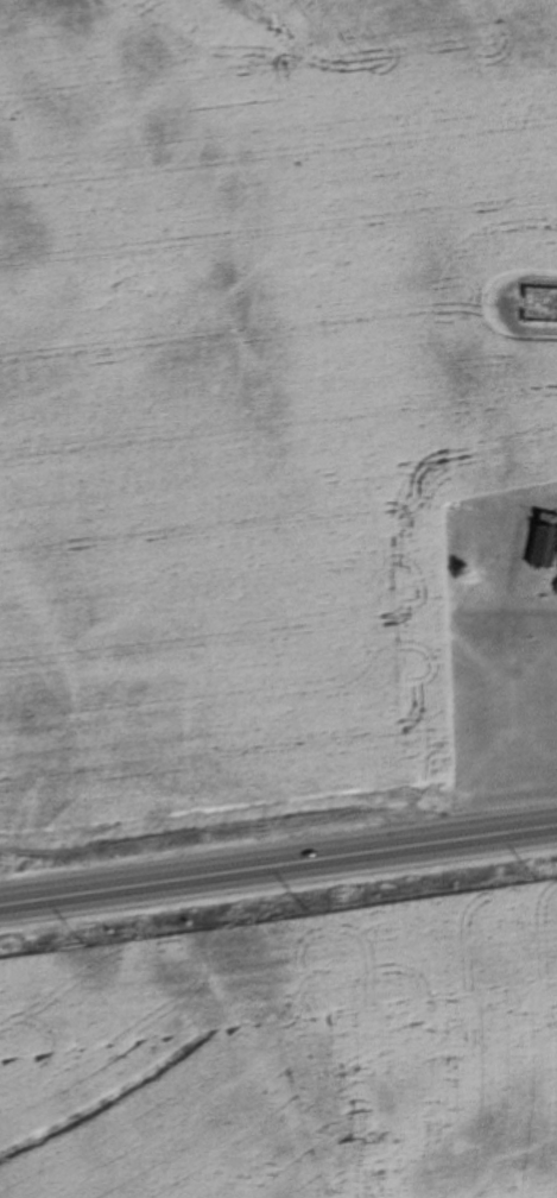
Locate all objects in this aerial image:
building: (536, 307)
building: (536, 547)
road: (278, 864)

